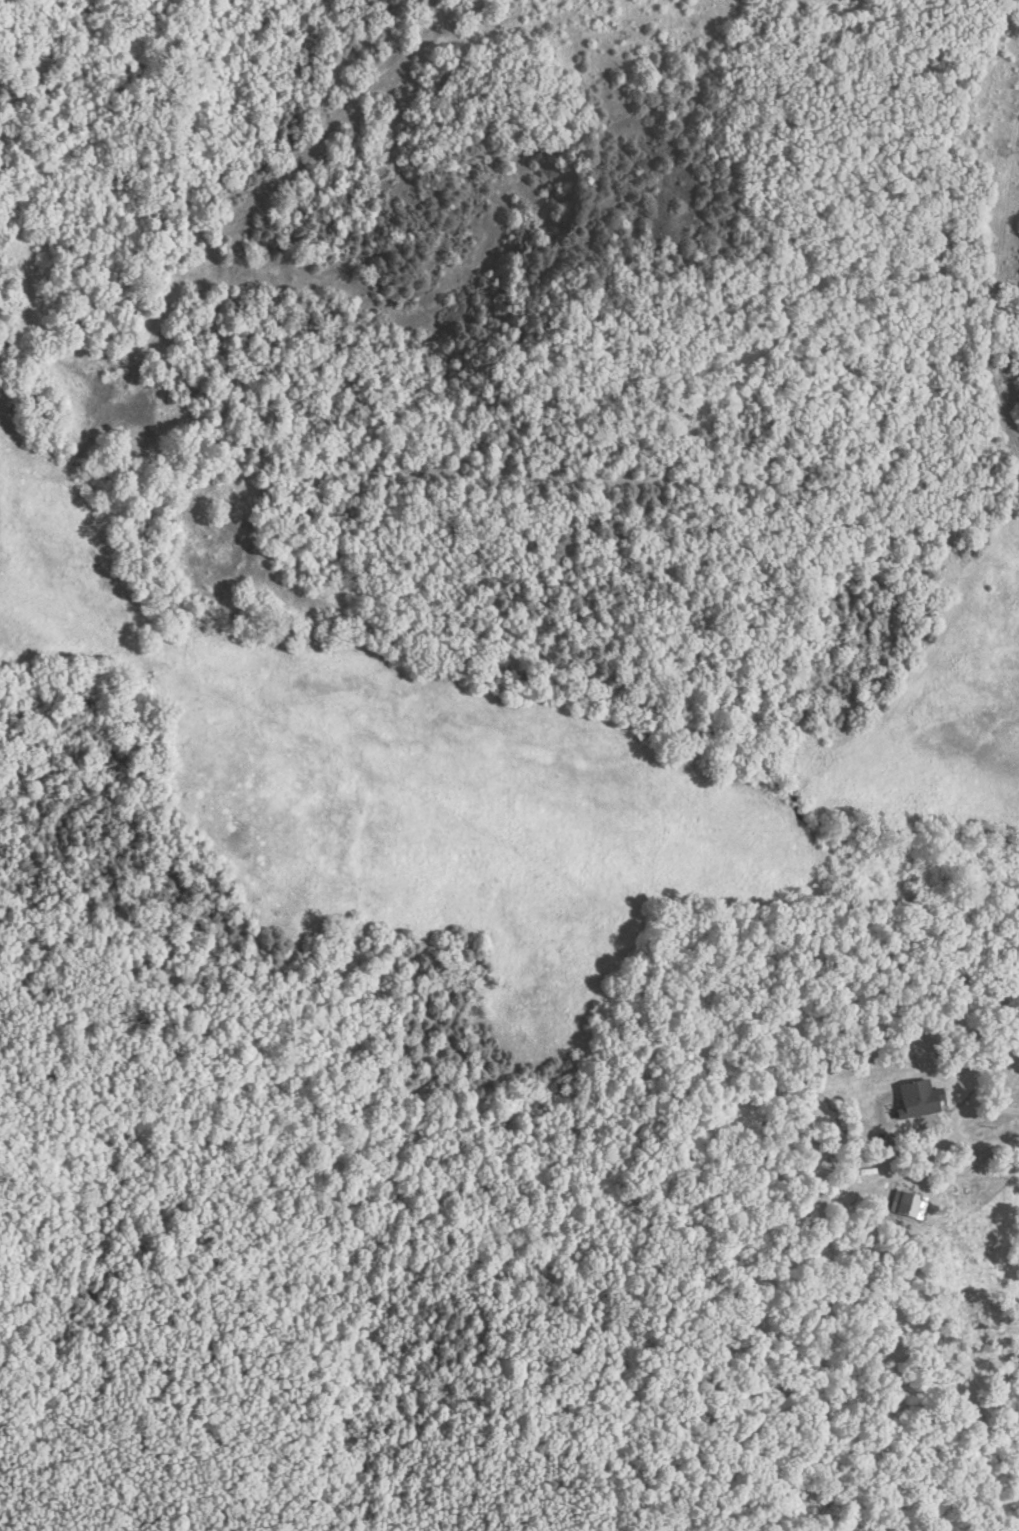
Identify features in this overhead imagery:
building: (913, 1099)
building: (906, 1205)

